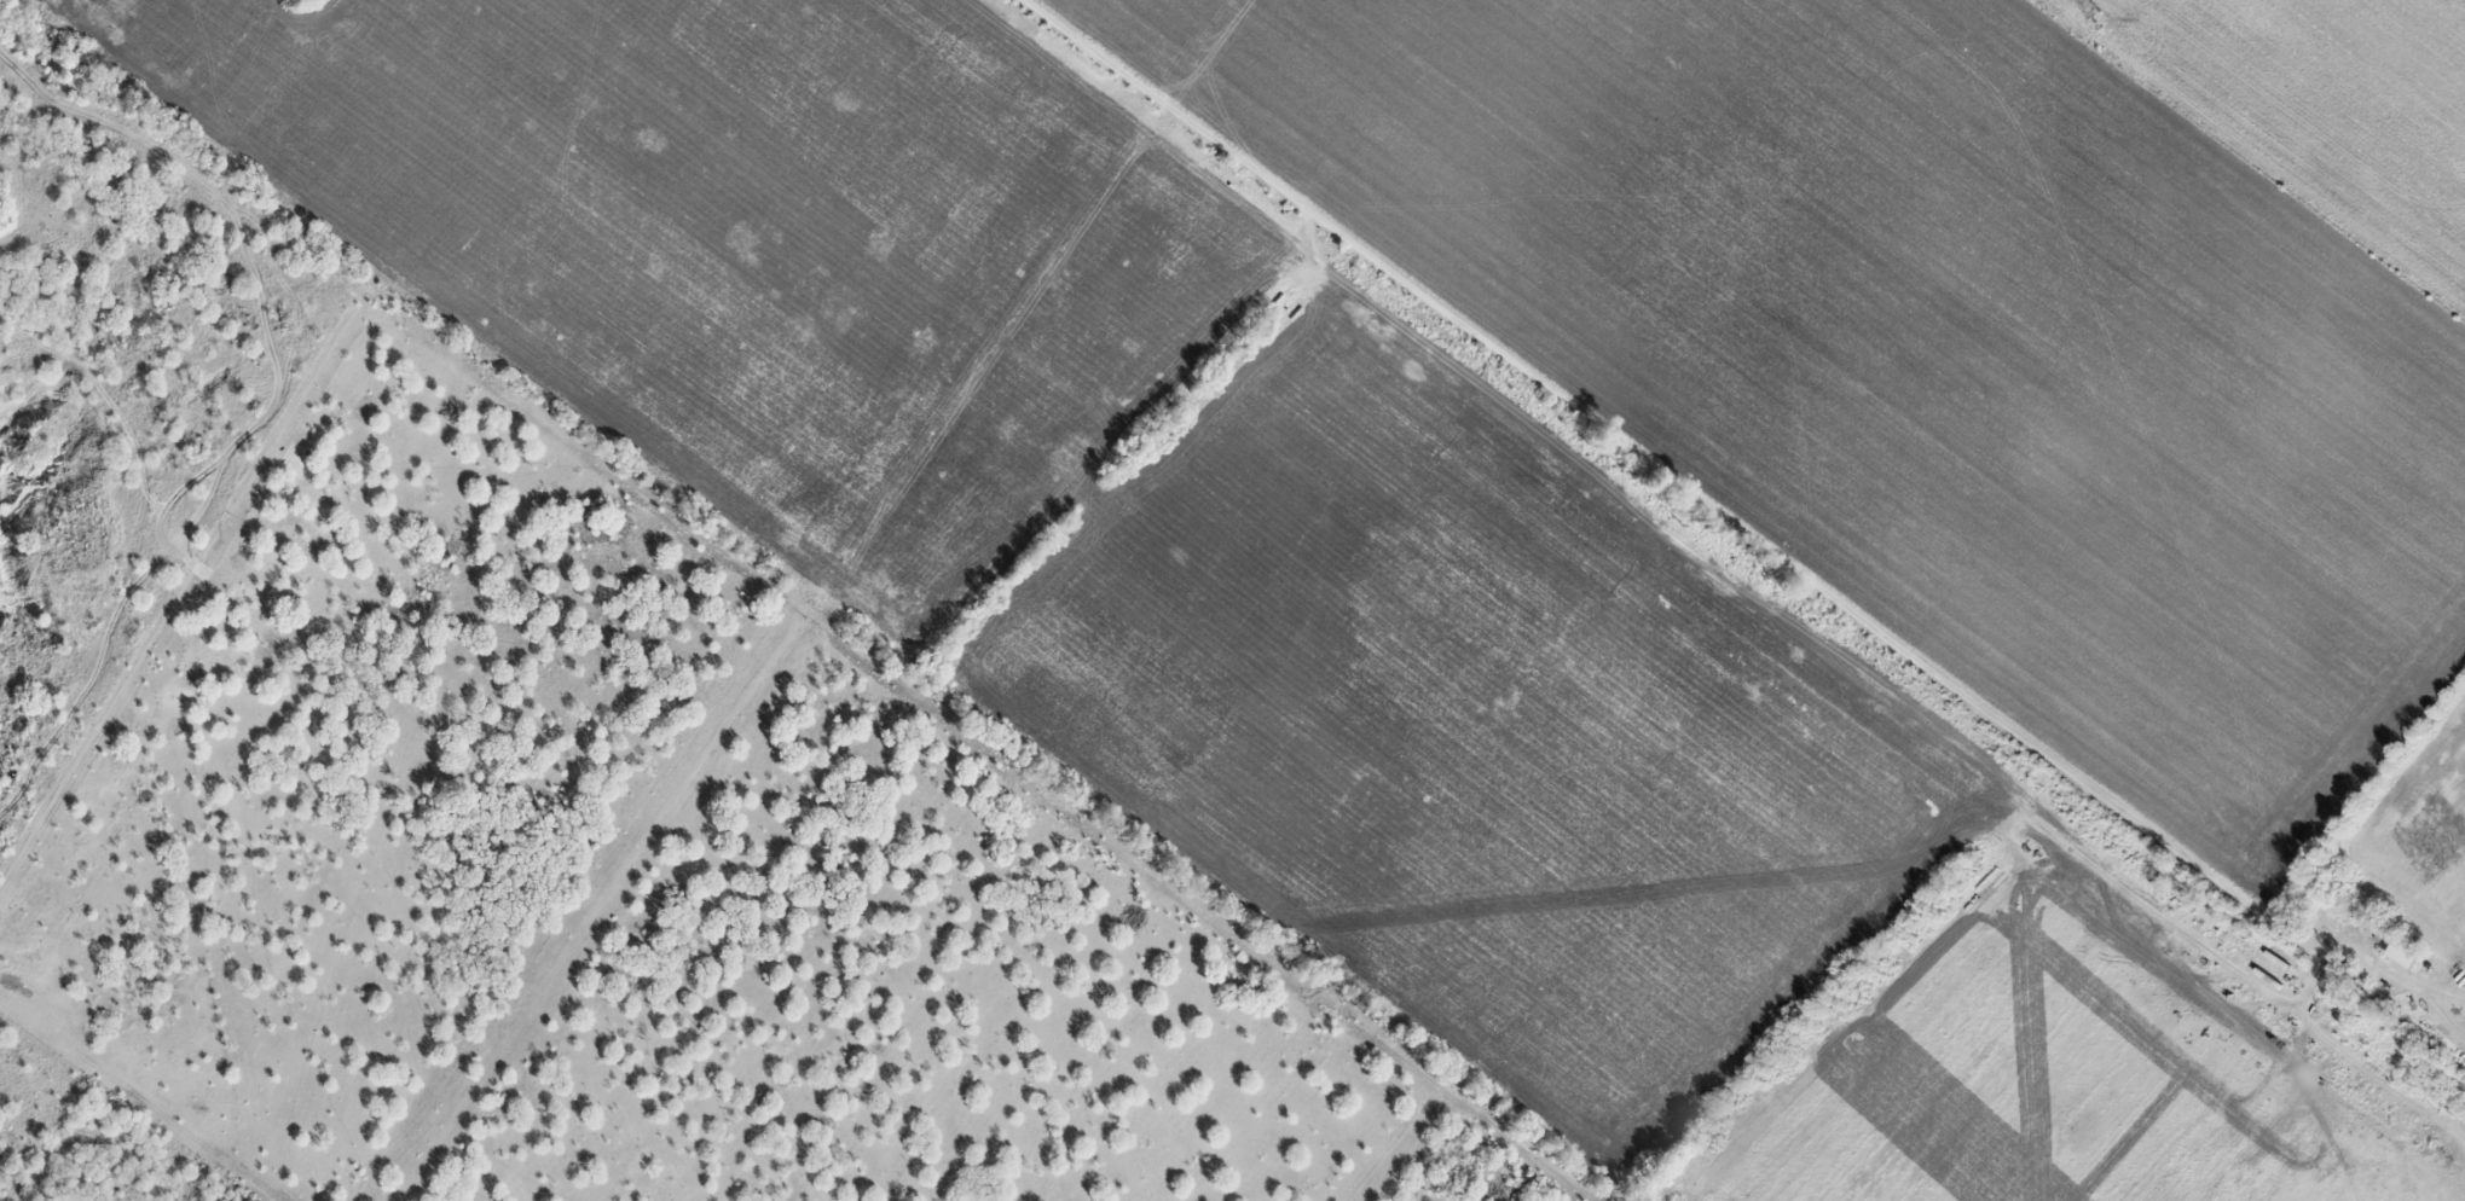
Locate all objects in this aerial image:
power tower: (2099, 17)
road: (1671, 480)
quarry: (287, 674)
building: (2402, 953)

